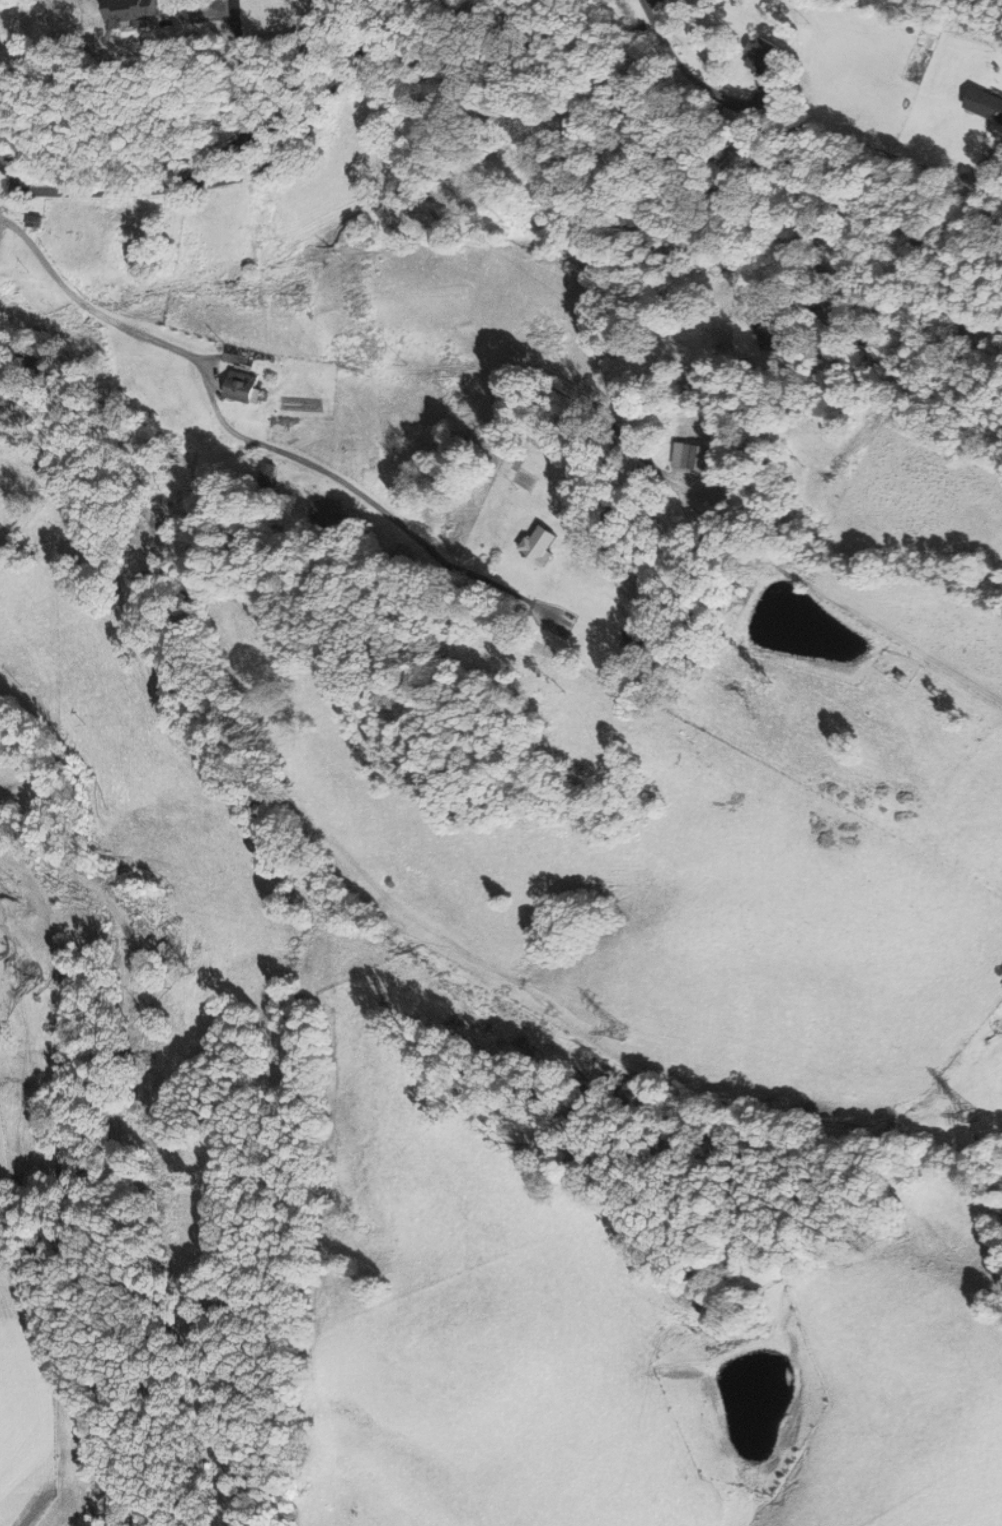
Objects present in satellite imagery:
building: (764, 57)
building: (986, 104)
road: (234, 162)
road: (12, 168)
building: (35, 221)
building: (773, 333)
building: (245, 386)
road: (249, 440)
building: (696, 457)
building: (540, 545)
power tower: (6, 888)
power tower: (625, 1035)
power tower: (974, 1118)

